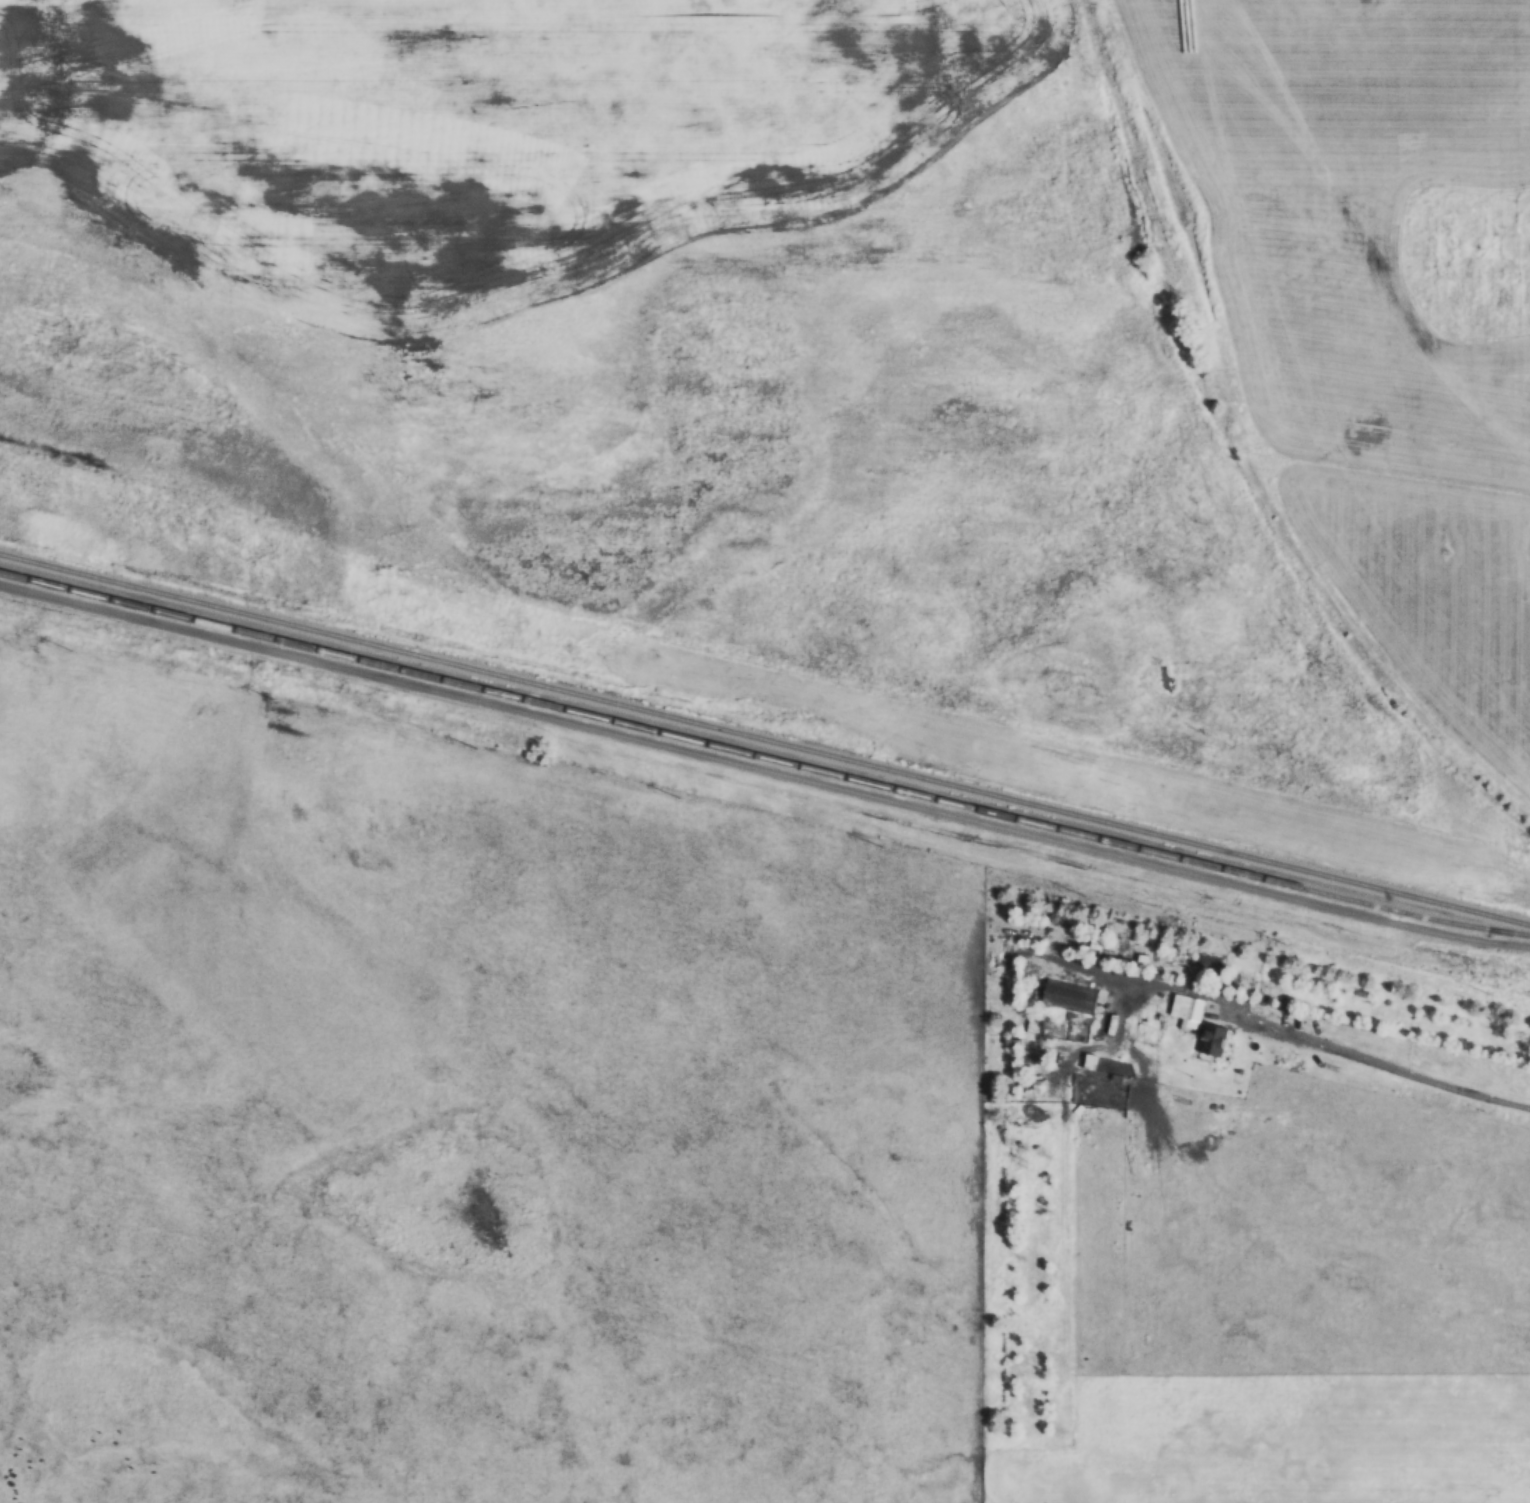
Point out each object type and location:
railway: (765, 738)

